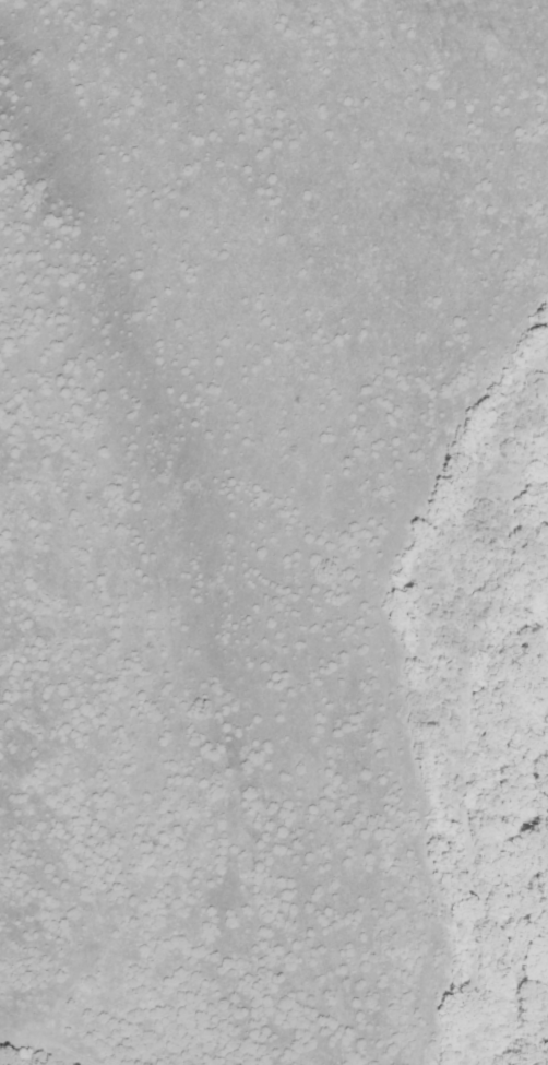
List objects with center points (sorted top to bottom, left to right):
road: (458, 446)

